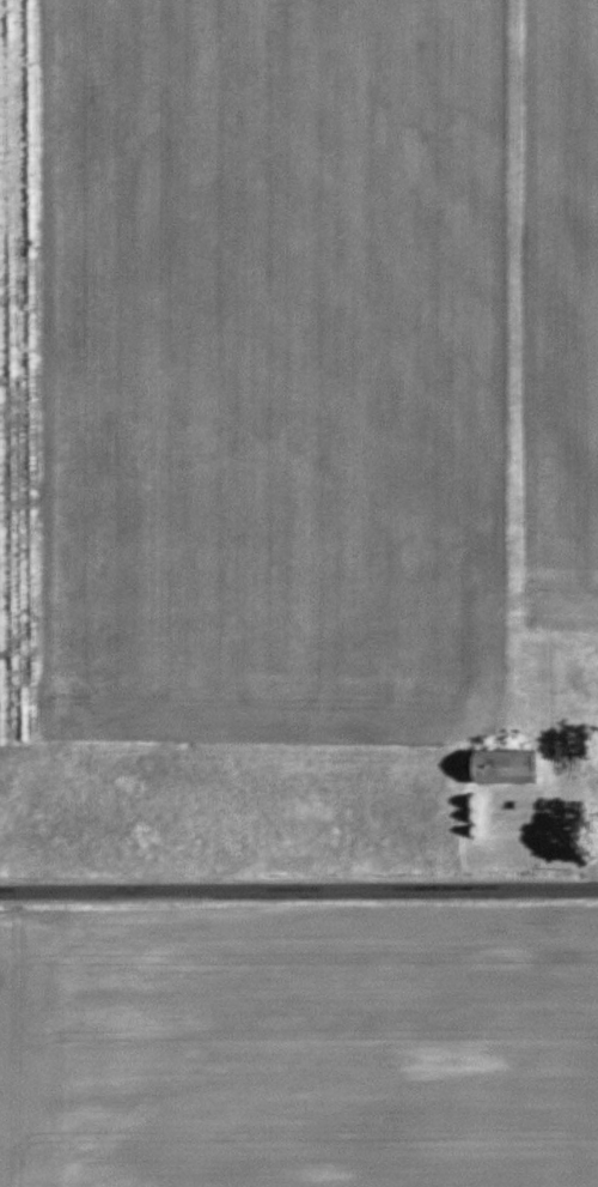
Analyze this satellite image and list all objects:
building: (514, 768)
road: (299, 897)

